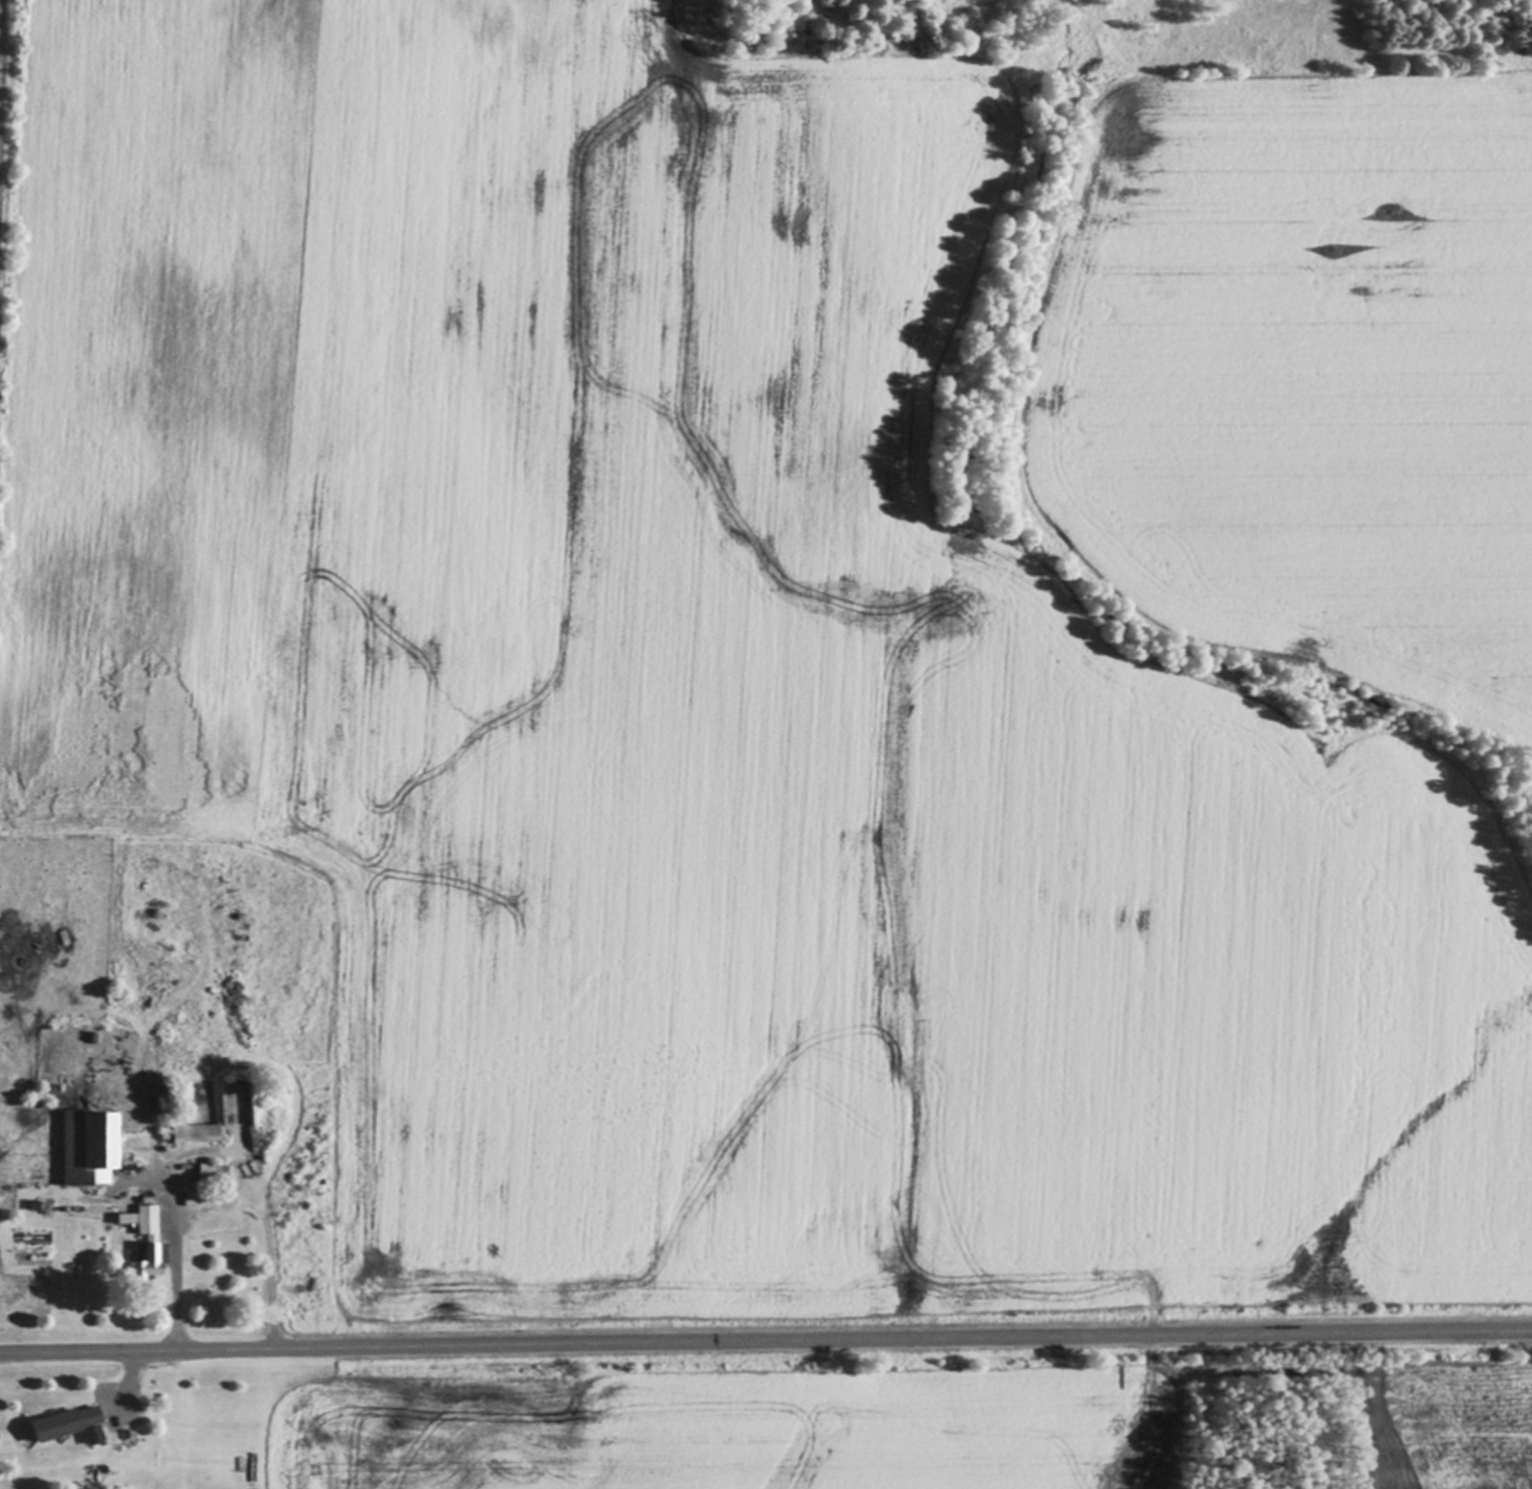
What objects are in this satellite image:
building: (163, 1094)
building: (162, 1129)
building: (195, 1130)
building: (87, 1143)
building: (209, 1169)
building: (224, 1188)
building: (144, 1240)
road: (766, 1343)
building: (85, 1425)
building: (125, 1433)
building: (123, 1487)

